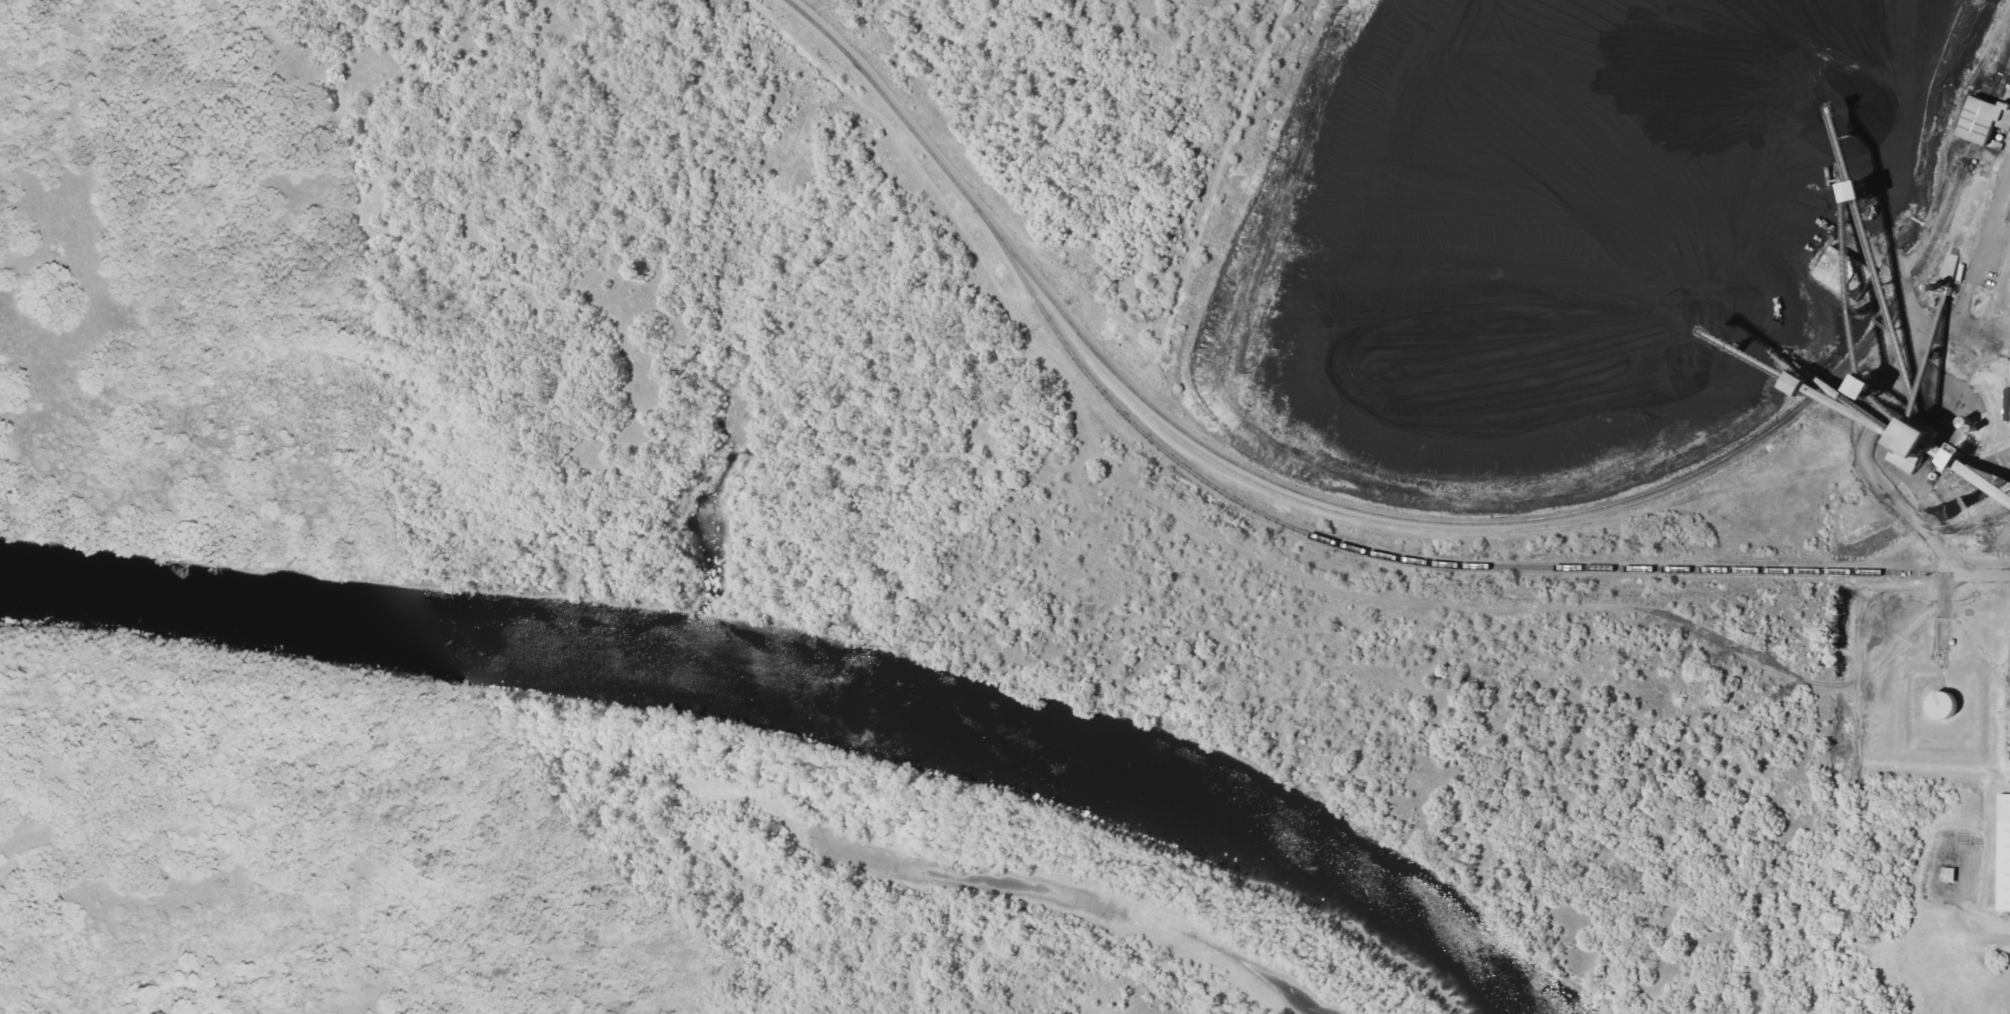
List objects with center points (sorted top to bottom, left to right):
road: (1352, 5)
building: (1982, 120)
power plant: (1136, 392)
building: (1906, 442)
railway: (1413, 518)
railway: (1386, 556)
building: (1937, 704)
building: (2004, 852)
building: (1945, 874)

